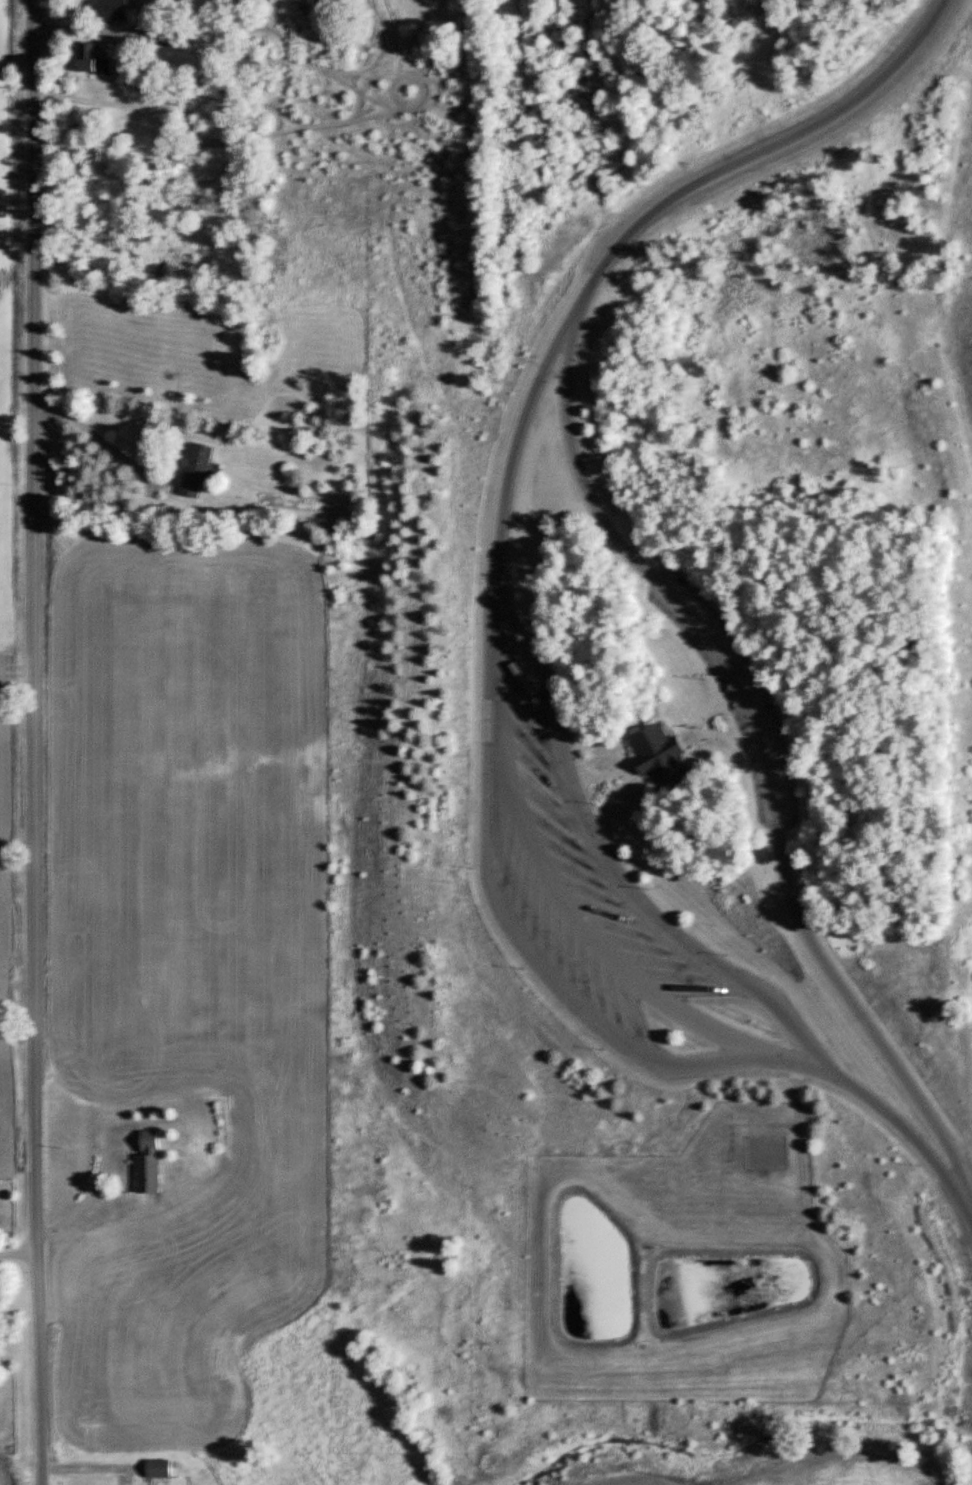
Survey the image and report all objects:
building: (114, 10)
building: (93, 60)
road: (753, 156)
road: (105, 440)
building: (199, 467)
parking lot: (733, 692)
road: (719, 698)
road: (701, 722)
road: (711, 734)
road: (625, 739)
road: (32, 742)
road: (761, 747)
building: (659, 754)
road: (615, 789)
road: (595, 812)
road: (537, 850)
parking lot: (585, 884)
building: (151, 1164)
road: (964, 1204)
road: (16, 1247)
building: (159, 1467)

